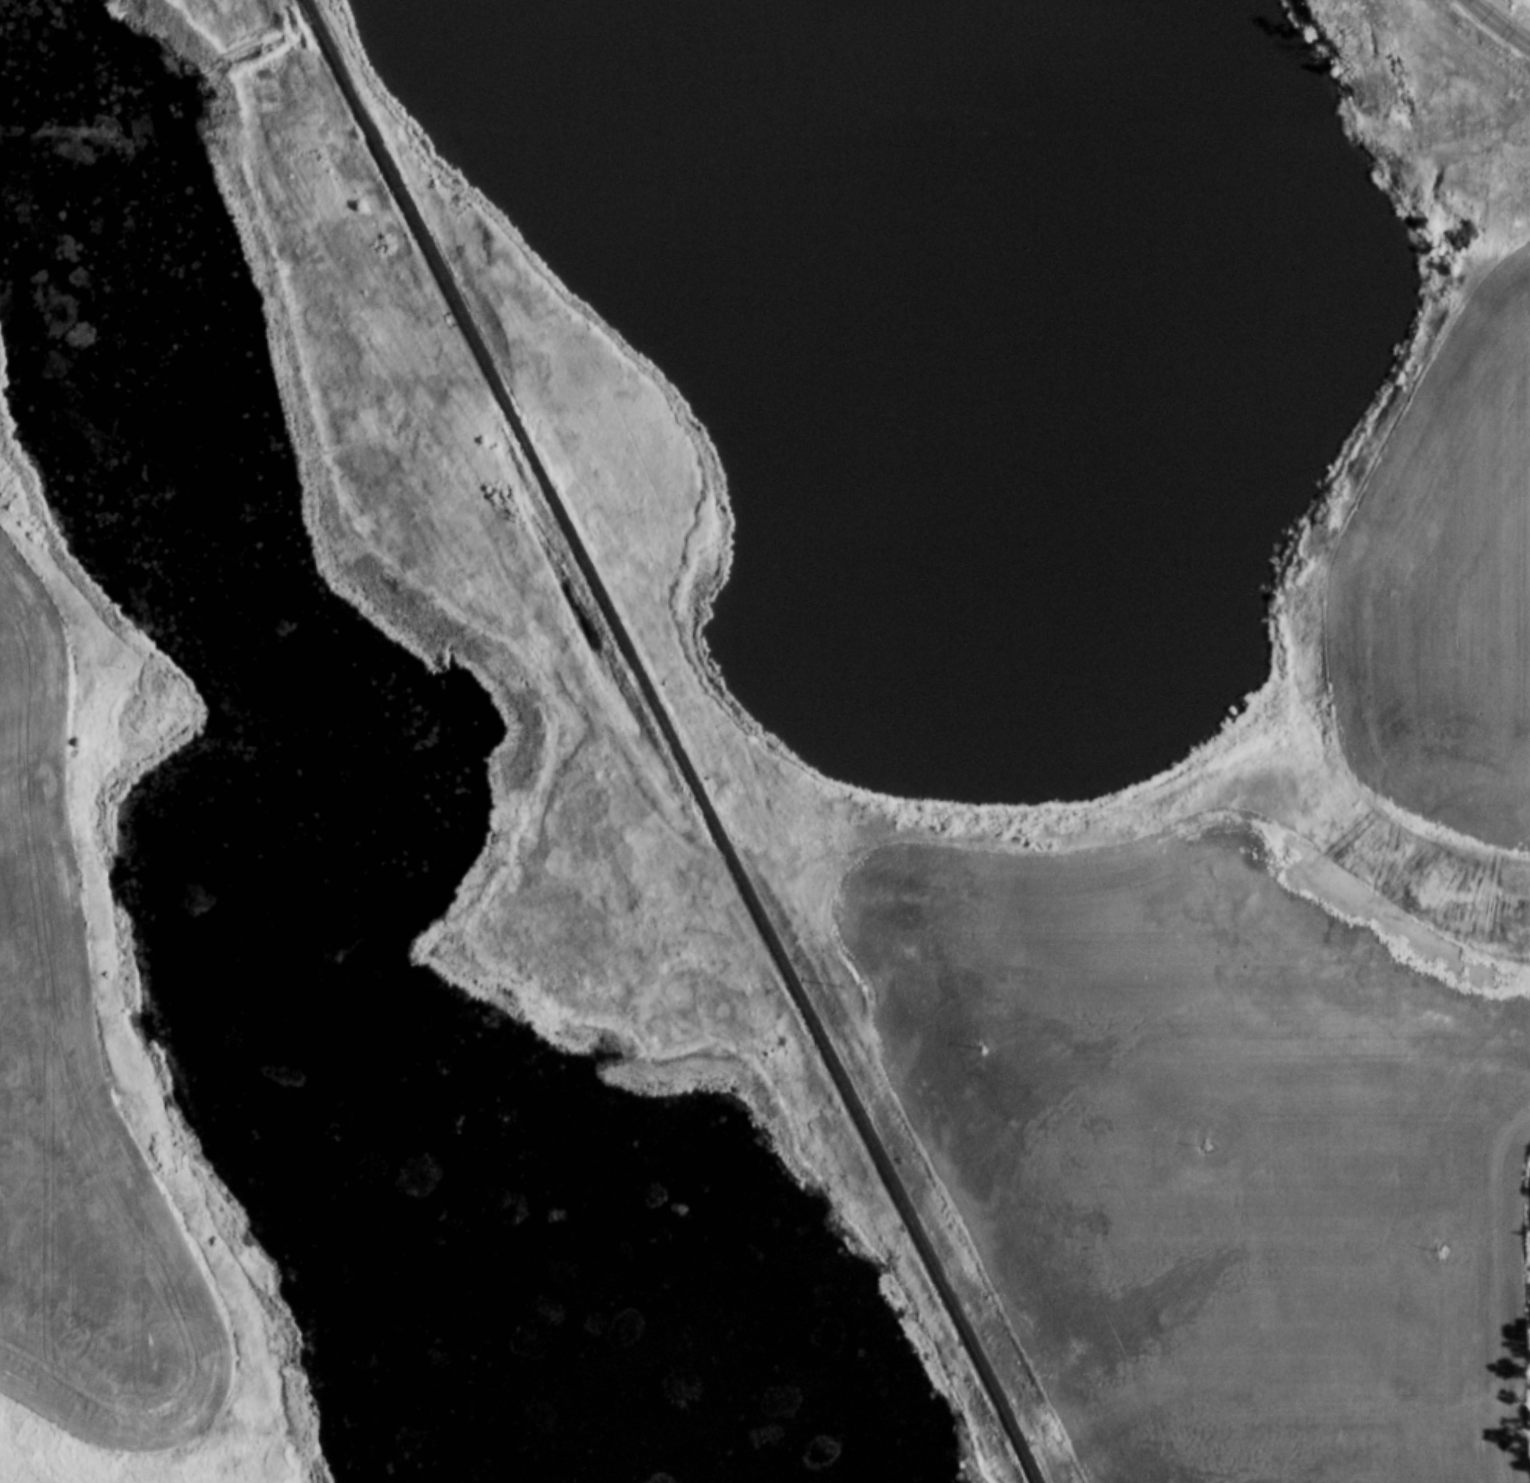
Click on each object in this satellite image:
road: (1501, 24)
railway: (672, 741)

